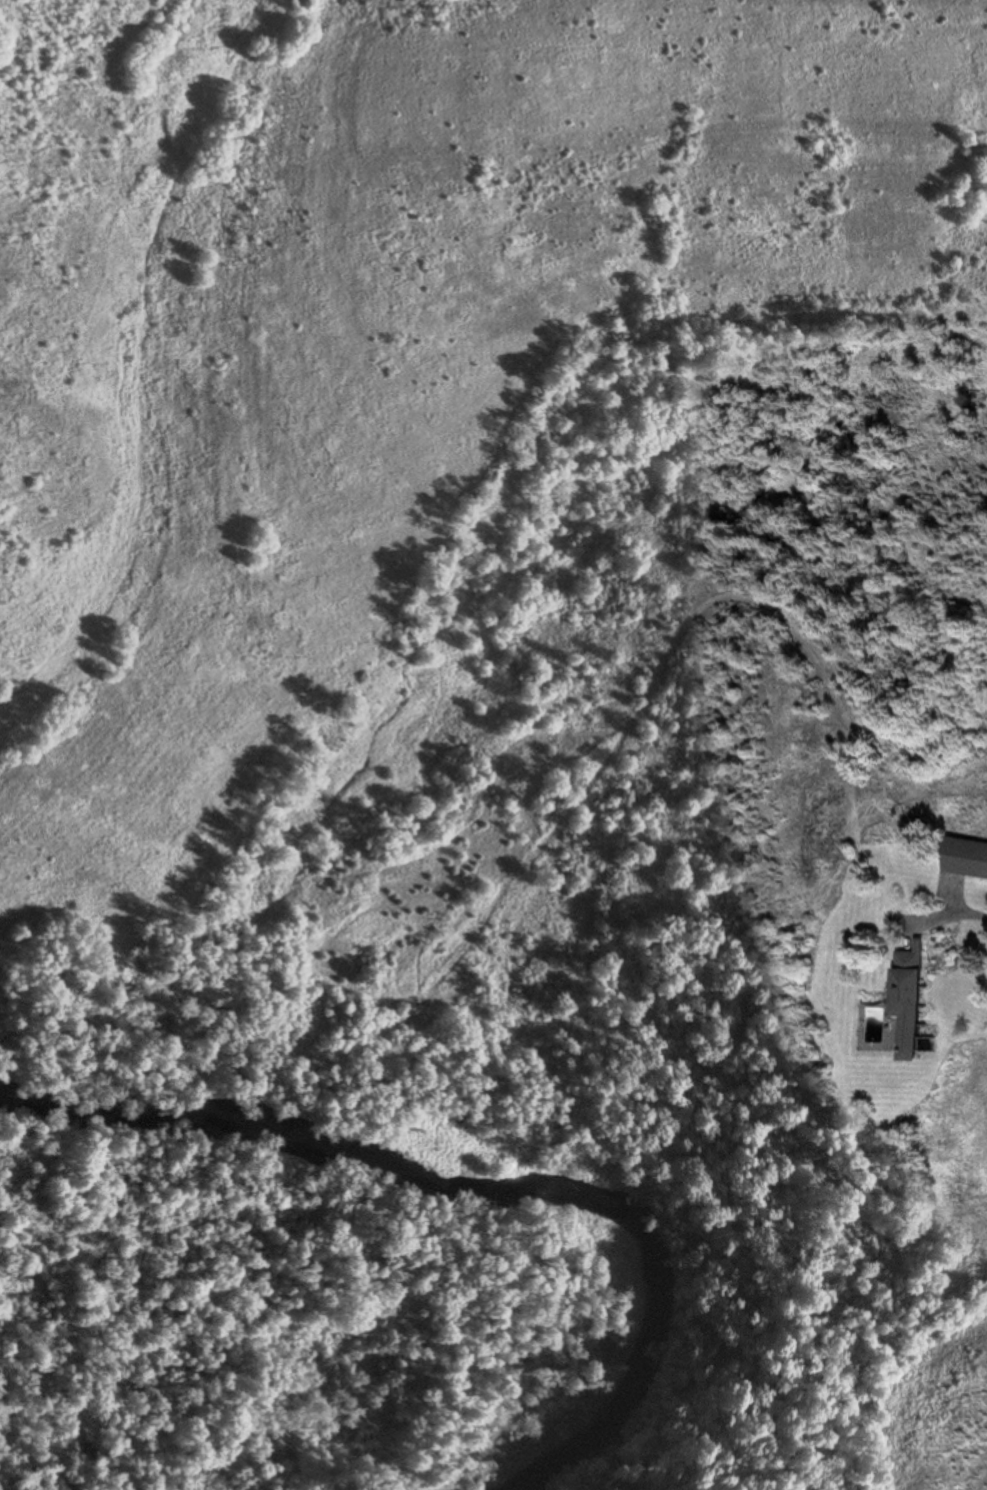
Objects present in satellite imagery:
building: (970, 856)
building: (915, 997)
river: (472, 1192)

